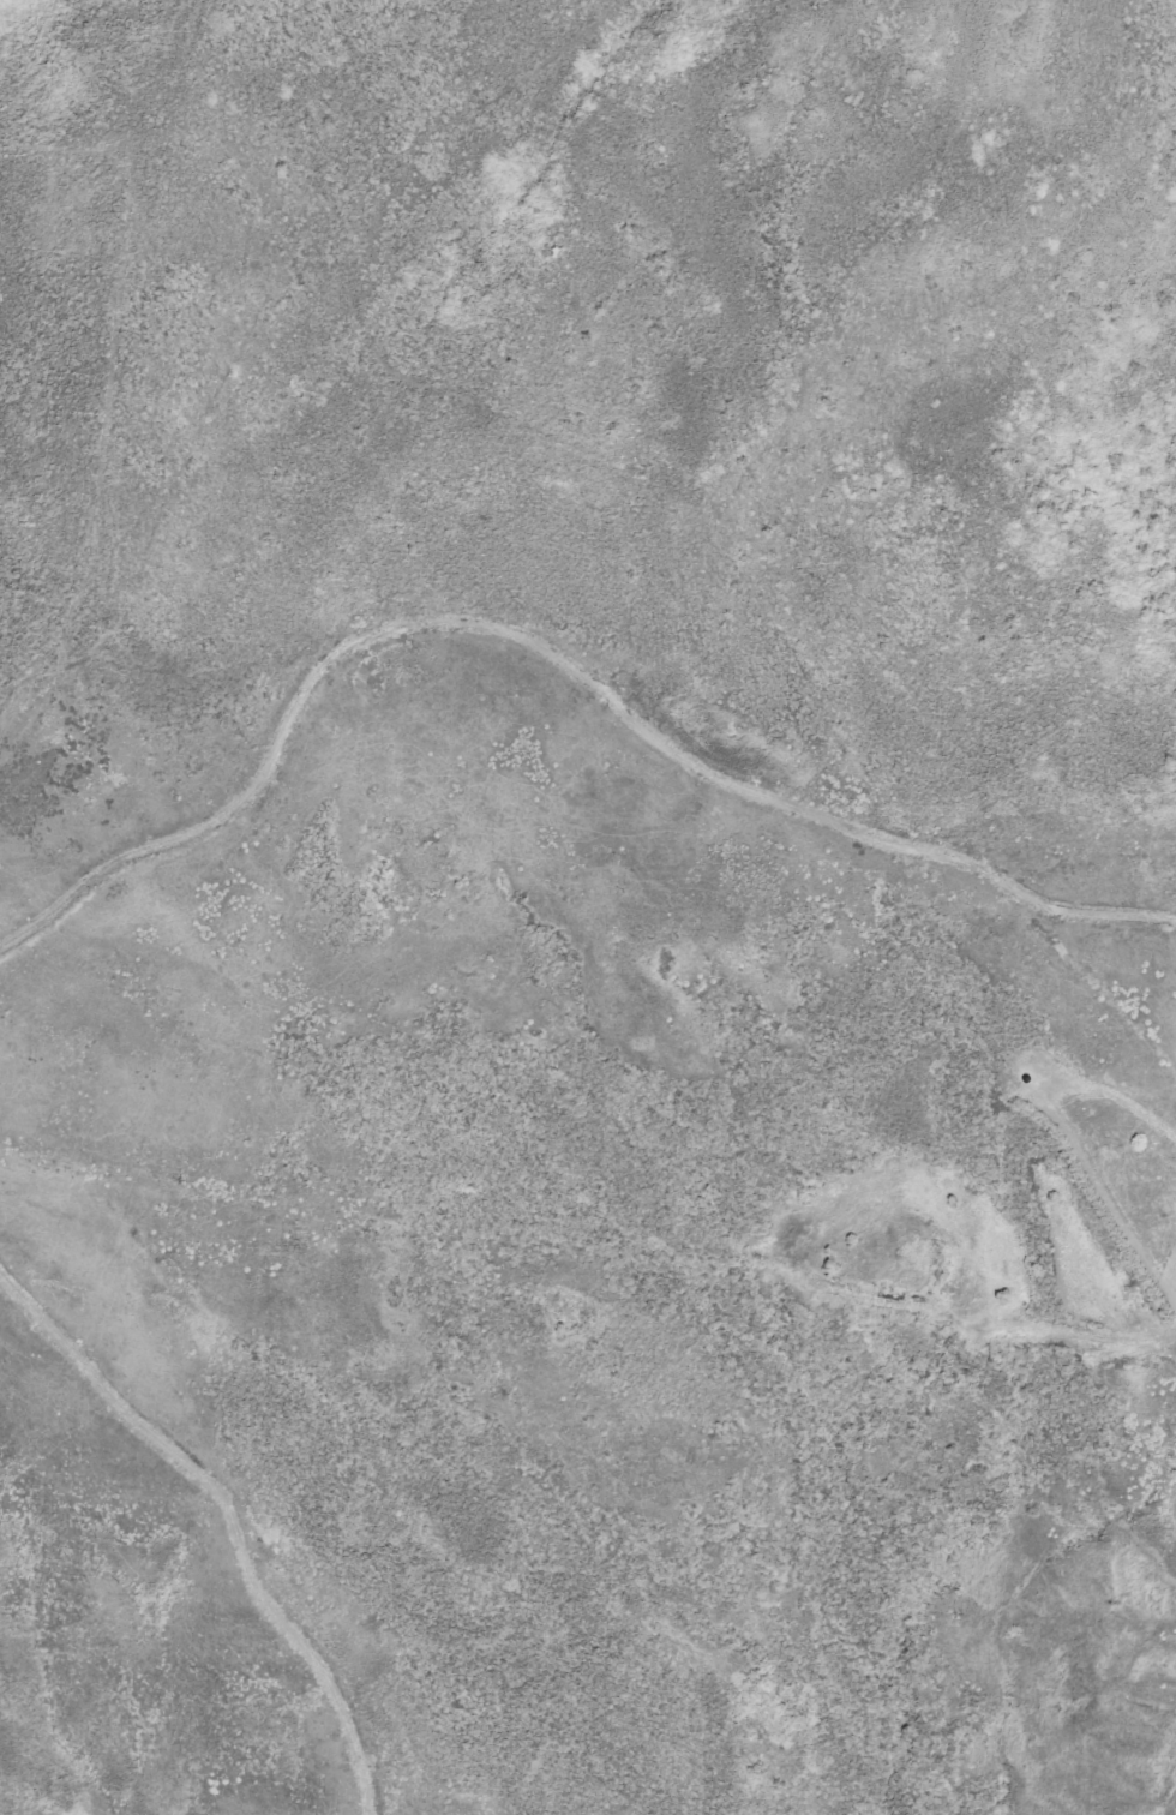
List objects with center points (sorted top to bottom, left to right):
road: (553, 671)

